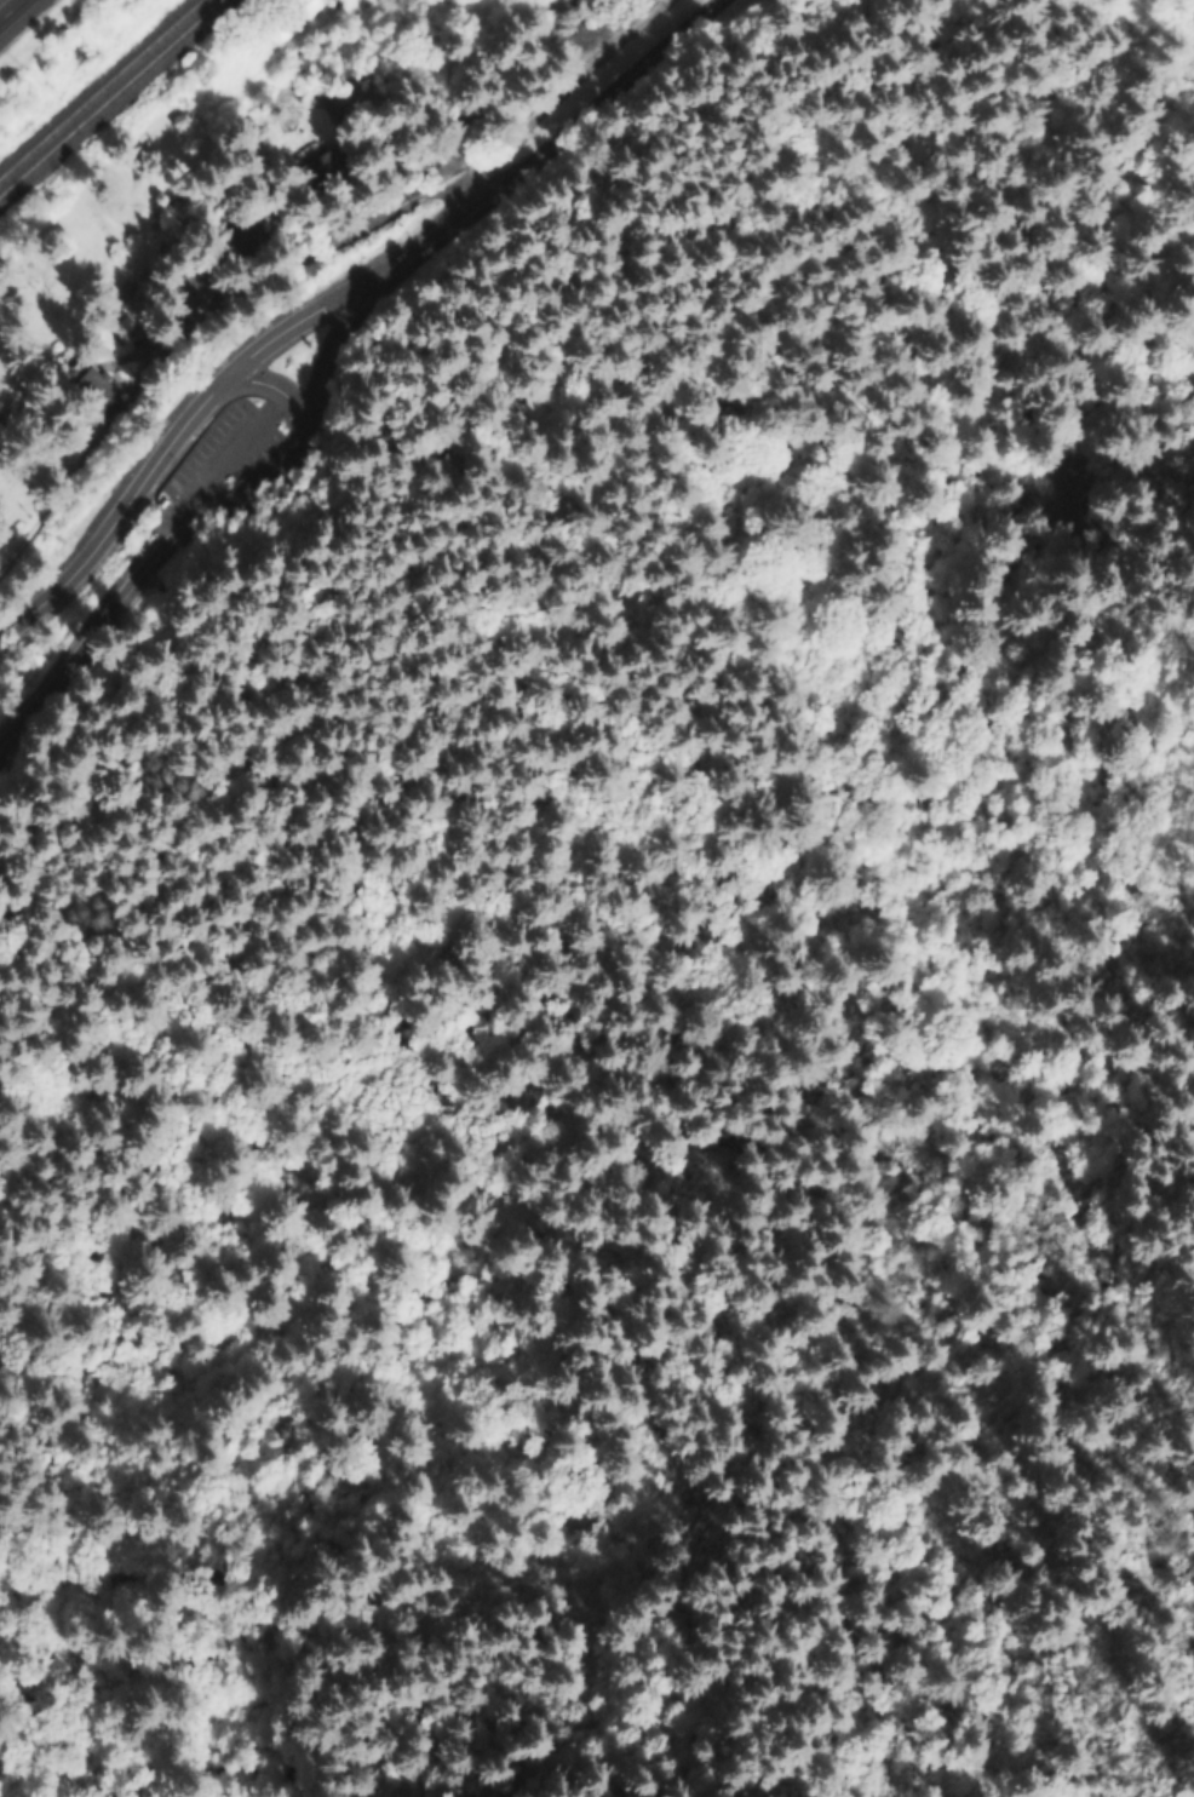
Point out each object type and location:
road: (15, 13)
building: (300, 31)
railway: (102, 91)
railway: (115, 103)
building: (241, 127)
road: (547, 145)
building: (315, 166)
building: (226, 241)
building: (178, 288)
road: (294, 327)
building: (124, 329)
road: (329, 354)
road: (610, 371)
road: (272, 391)
building: (87, 398)
parking lot: (223, 448)
road: (209, 461)
road: (121, 517)
road: (140, 574)
road: (168, 722)

